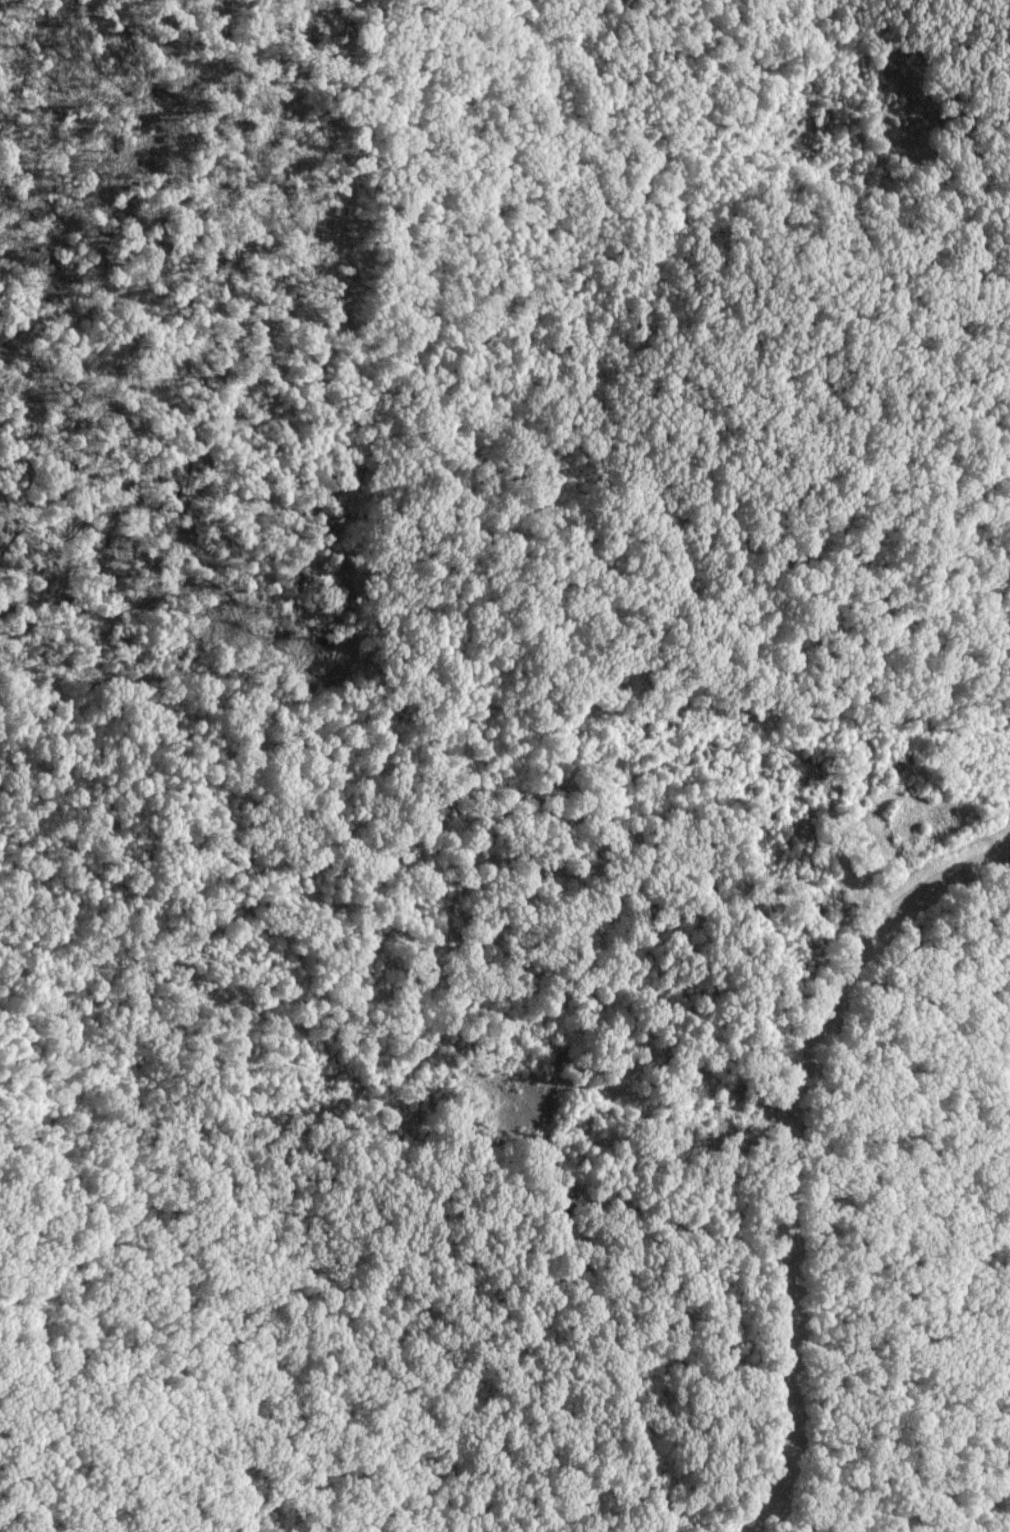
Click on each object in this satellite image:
road: (948, 139)
road: (792, 1141)
road: (690, 1227)

